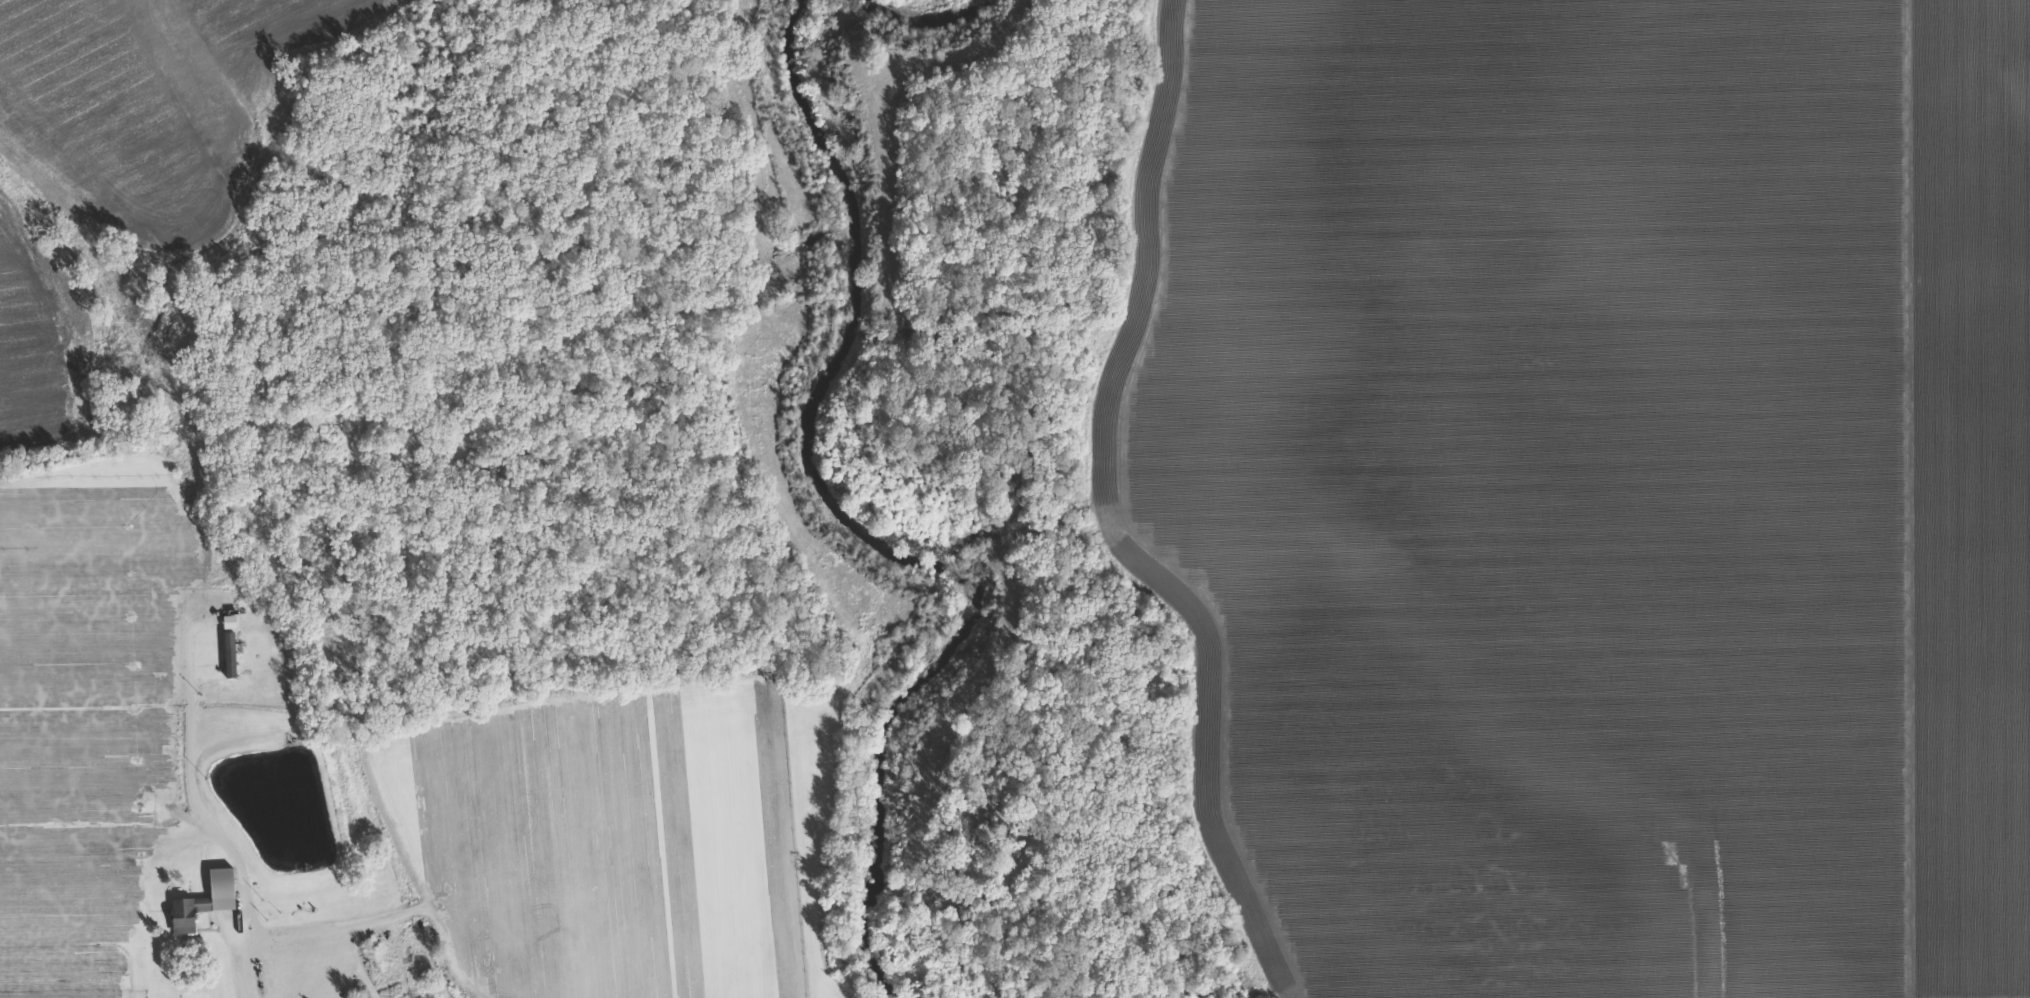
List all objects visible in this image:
river: (917, 15)
river: (871, 535)
building: (227, 623)
building: (227, 662)
building: (202, 902)

